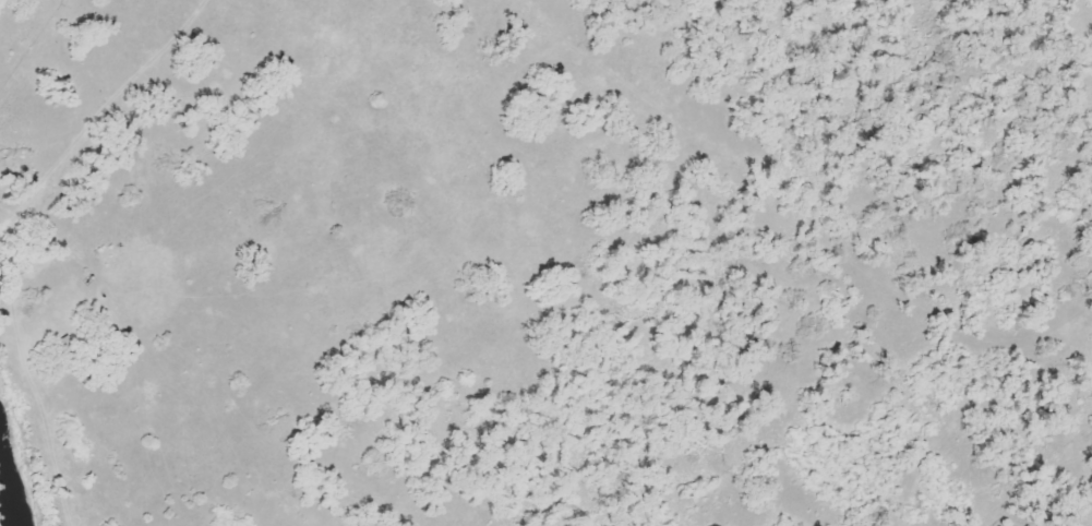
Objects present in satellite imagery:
road: (17, 234)
building: (62, 342)
road: (980, 525)

